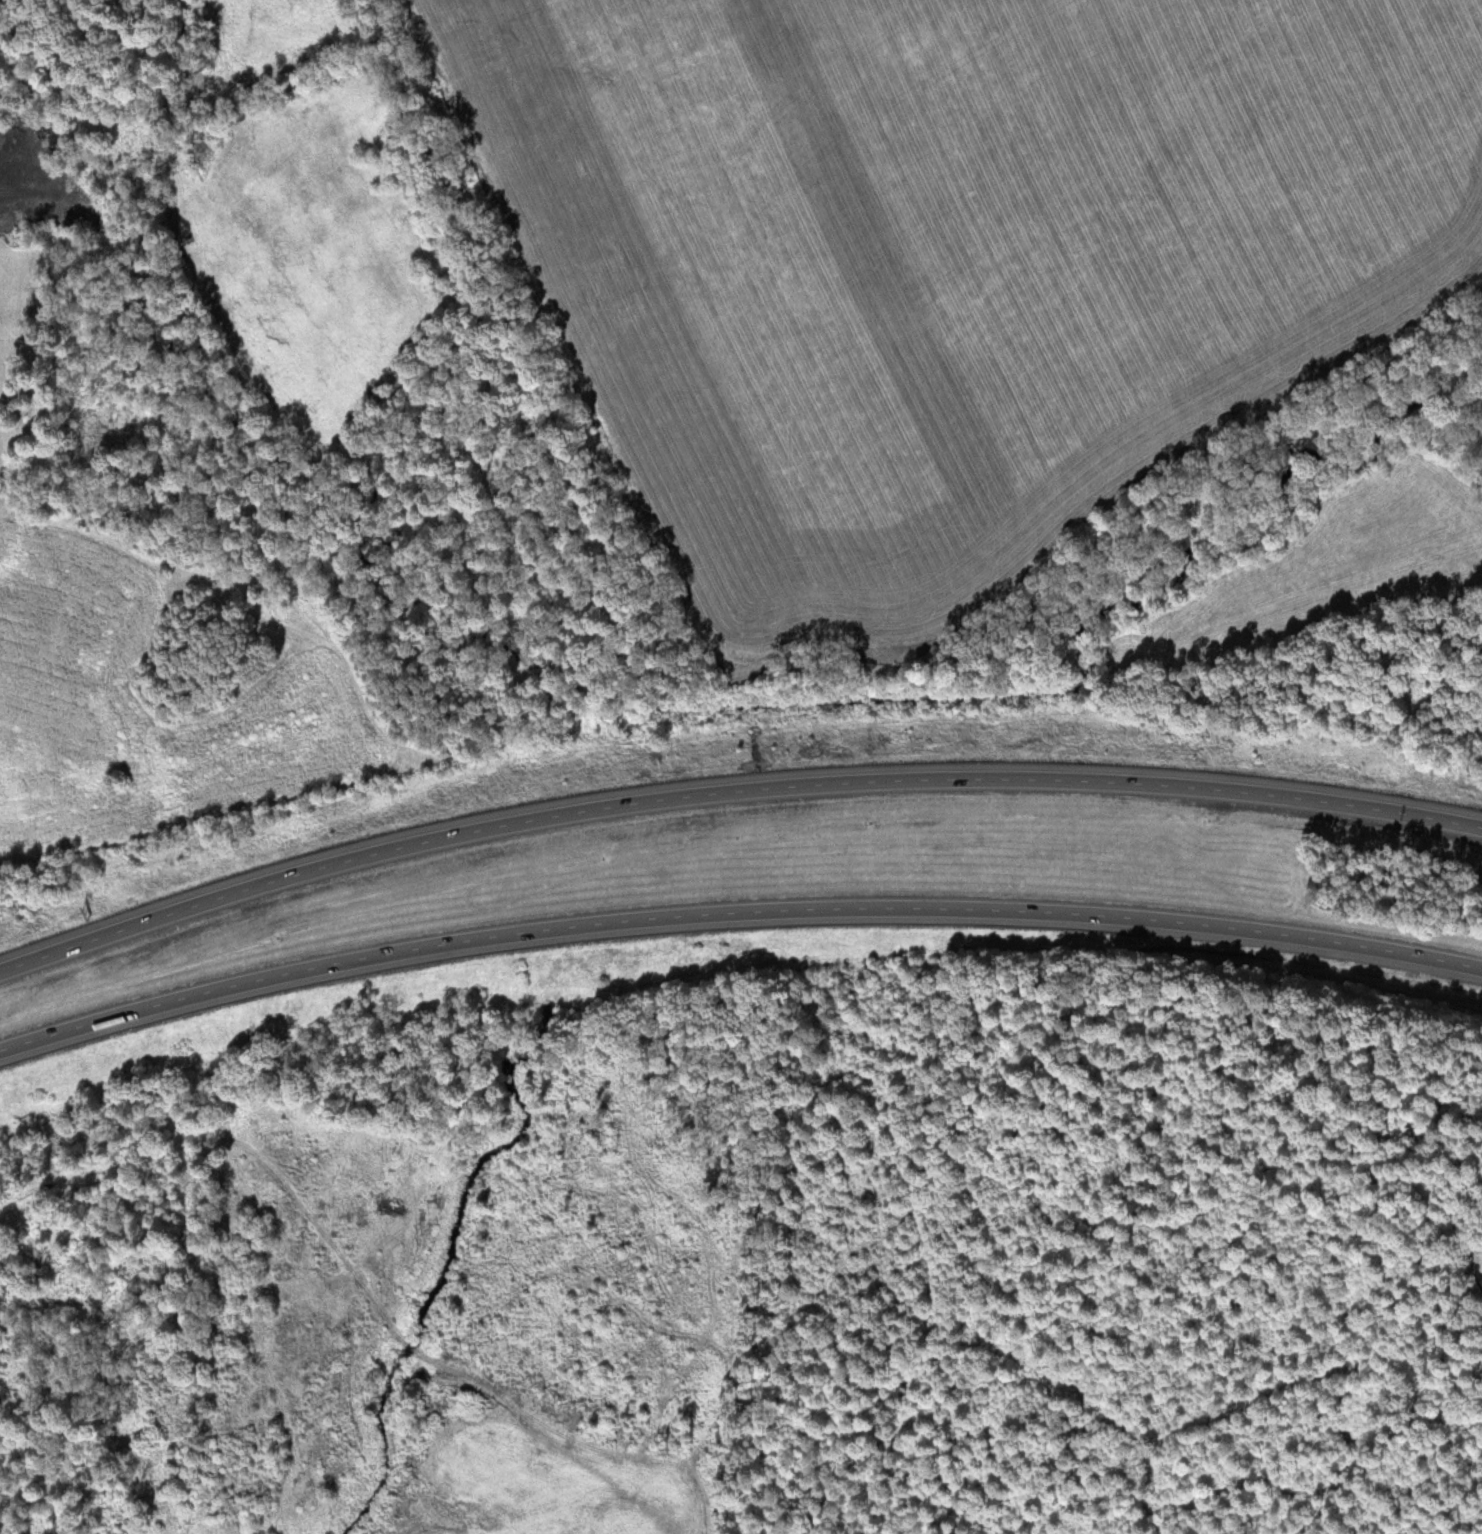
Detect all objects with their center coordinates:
road: (730, 796)
road: (735, 918)

